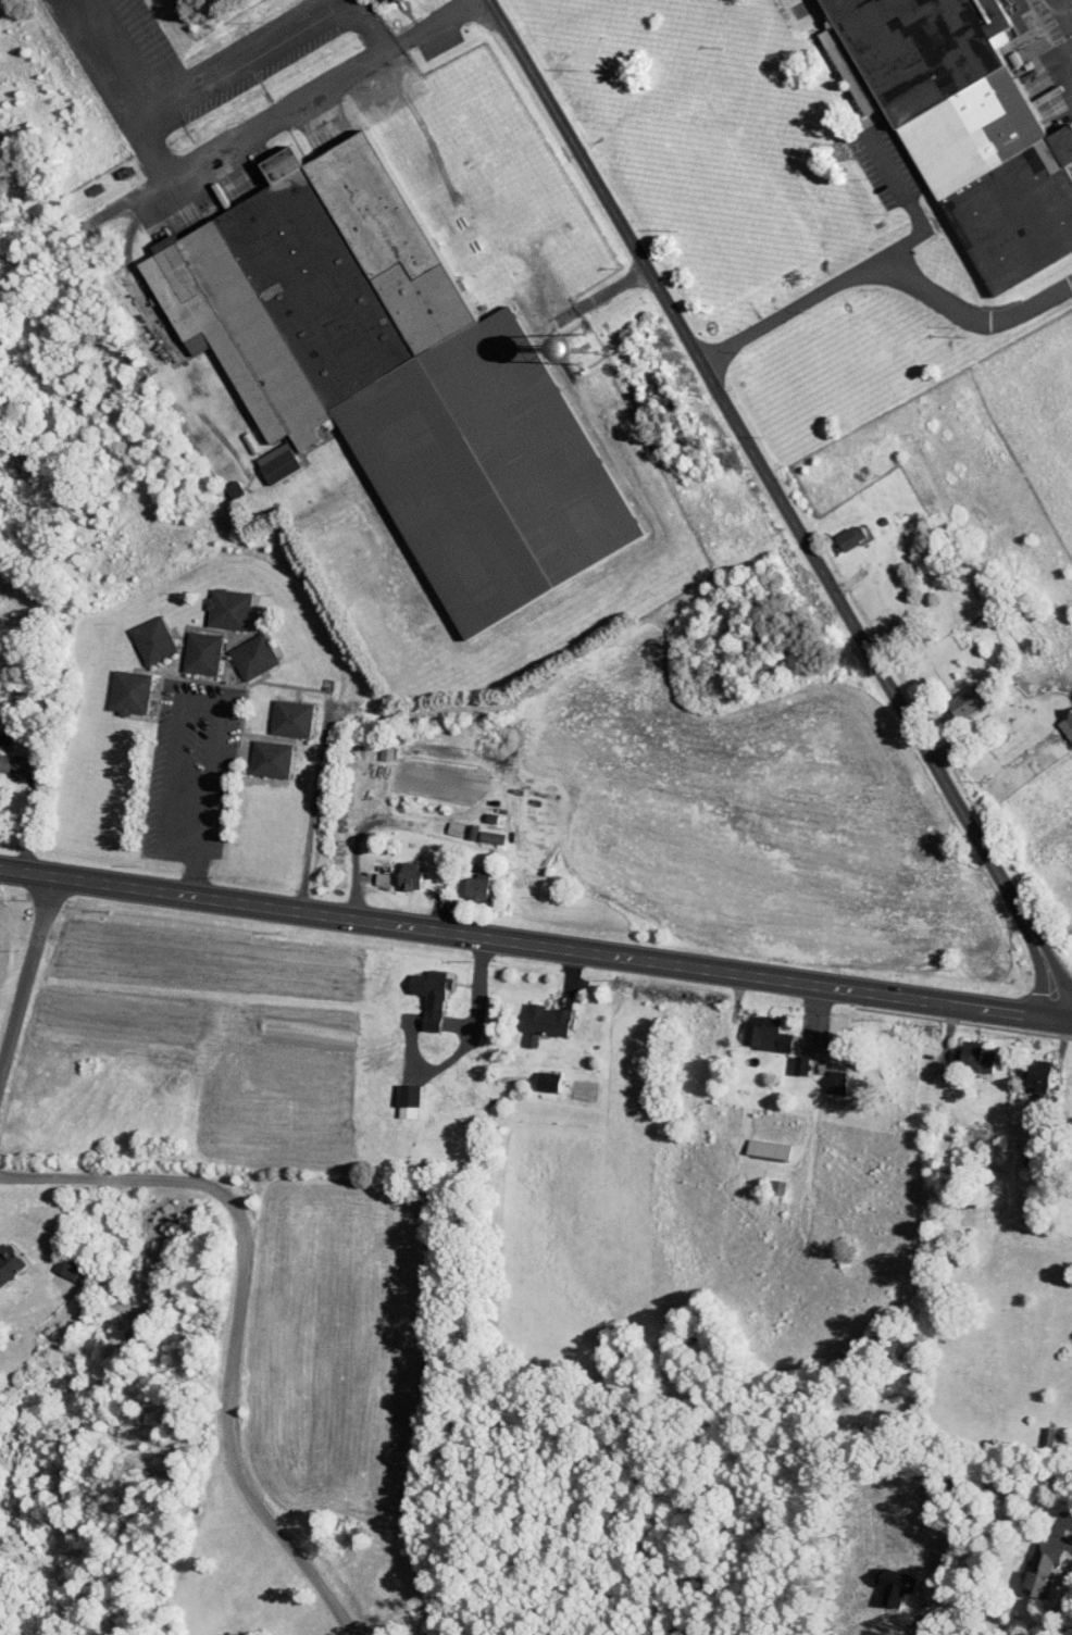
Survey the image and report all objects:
building: (362, 0)
building: (957, 127)
road: (885, 263)
building: (535, 344)
building: (382, 372)
building: (221, 484)
road: (783, 507)
building: (835, 532)
building: (213, 602)
building: (138, 633)
building: (187, 646)
building: (238, 649)
building: (114, 685)
building: (950, 695)
road: (179, 702)
building: (276, 711)
building: (1060, 716)
building: (255, 751)
road: (313, 810)
building: (439, 822)
building: (476, 829)
building: (395, 869)
road: (361, 871)
building: (366, 872)
road: (196, 876)
building: (461, 879)
road: (264, 910)
road: (25, 974)
road: (794, 983)
building: (415, 989)
building: (529, 1016)
road: (1064, 1019)
building: (750, 1026)
building: (963, 1049)
building: (786, 1058)
building: (1022, 1068)
building: (533, 1074)
building: (821, 1075)
building: (392, 1094)
building: (753, 1141)
building: (2, 1260)
building: (51, 1262)
road: (236, 1318)
road: (1057, 1533)
building: (1026, 1562)

